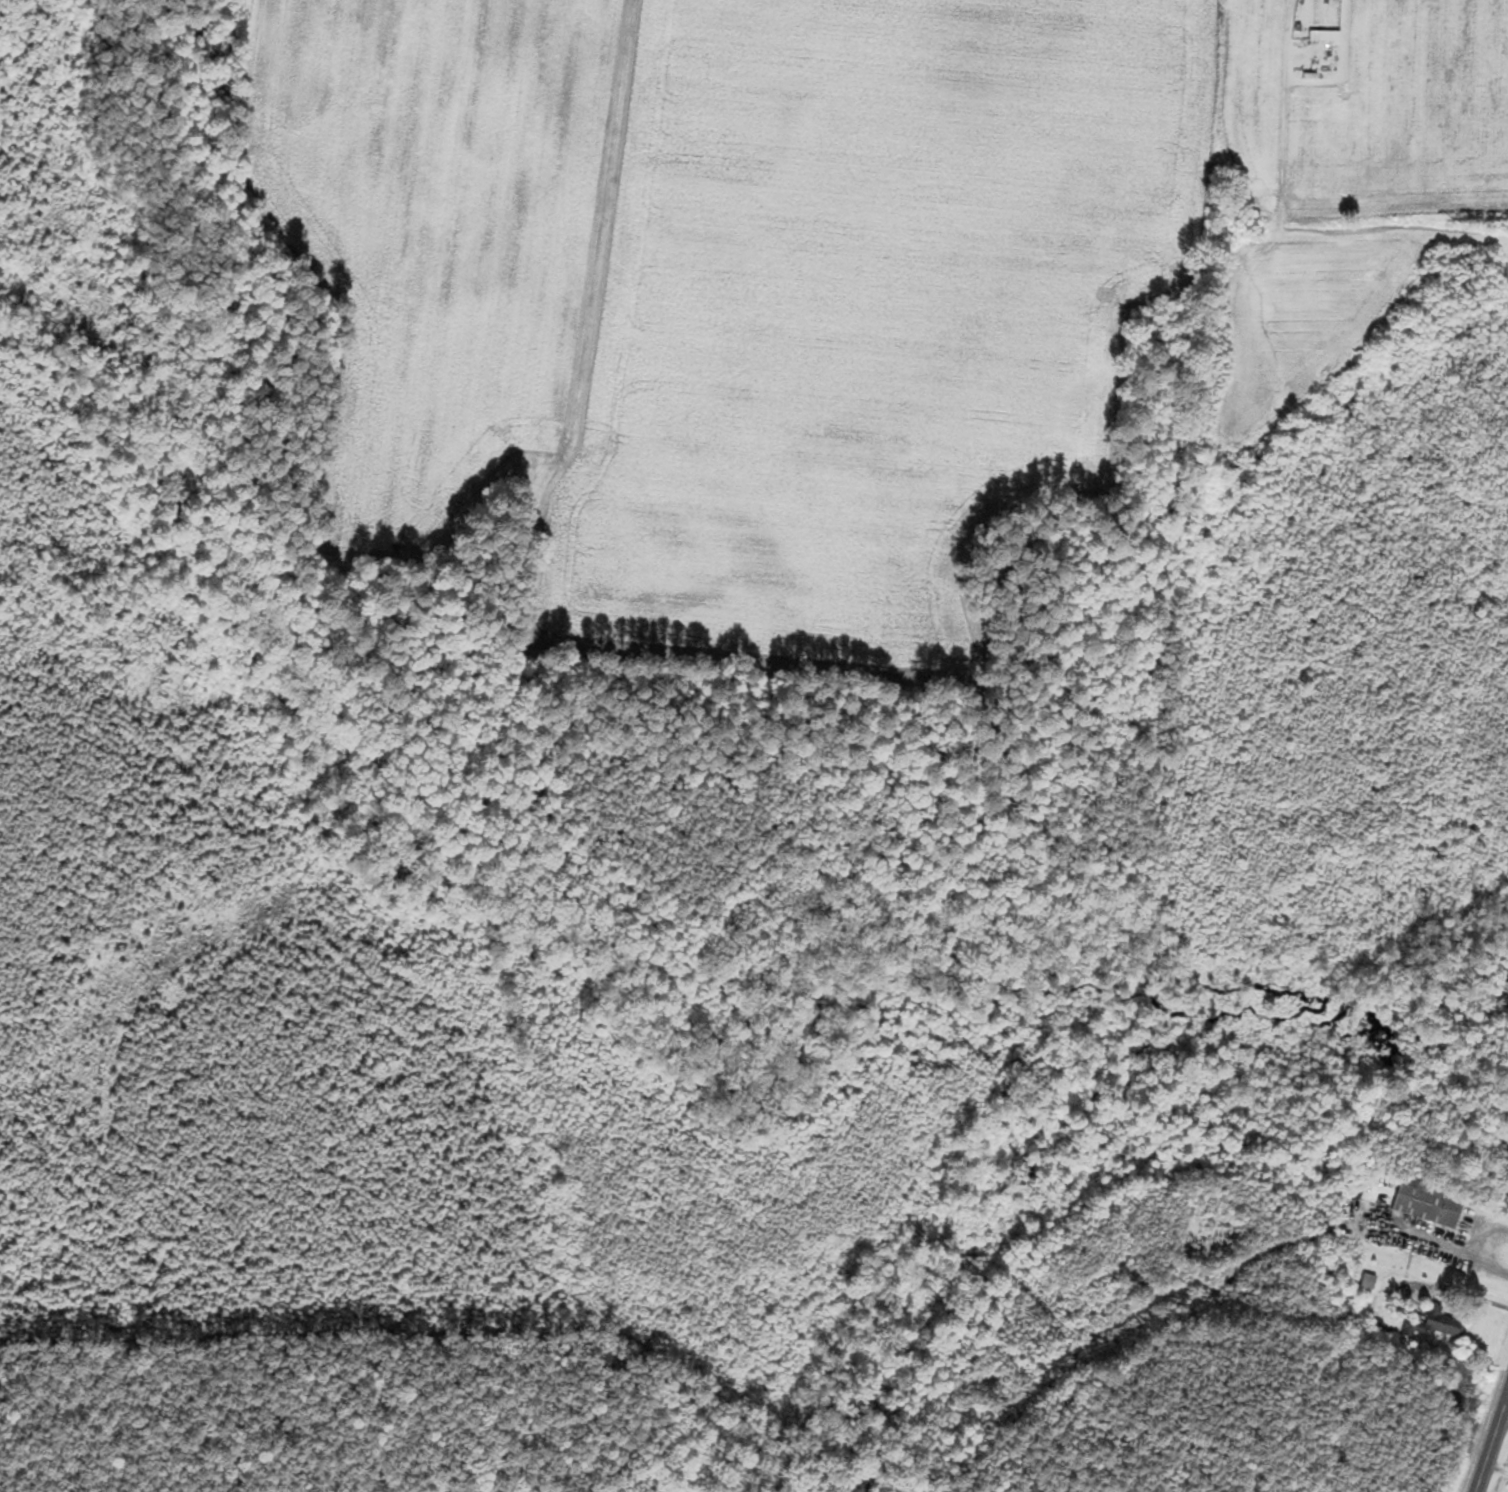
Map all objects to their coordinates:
building: (1335, 0)
building: (1498, 1144)
building: (1429, 1205)
building: (1433, 1326)
road: (1492, 1444)

